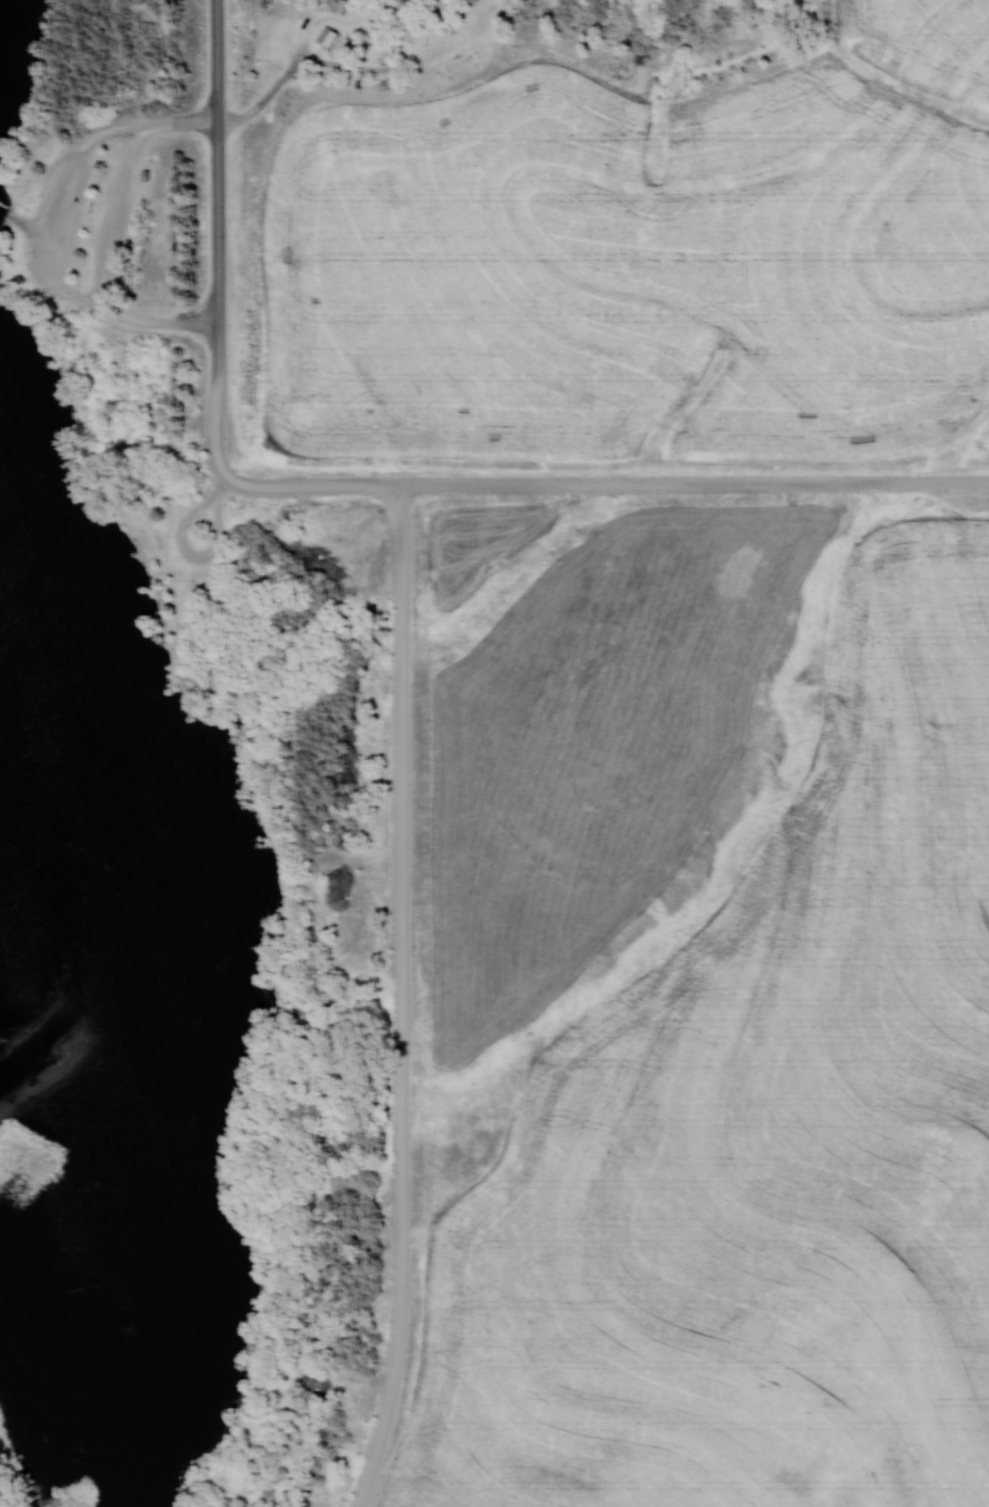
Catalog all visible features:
building: (331, 36)
road: (269, 96)
building: (141, 174)
road: (222, 191)
road: (115, 218)
road: (28, 224)
parking lot: (55, 224)
parking lot: (113, 226)
road: (54, 229)
road: (220, 431)
road: (314, 489)
road: (697, 489)
parking lot: (179, 511)
road: (191, 553)
park: (181, 836)
road: (403, 1000)

